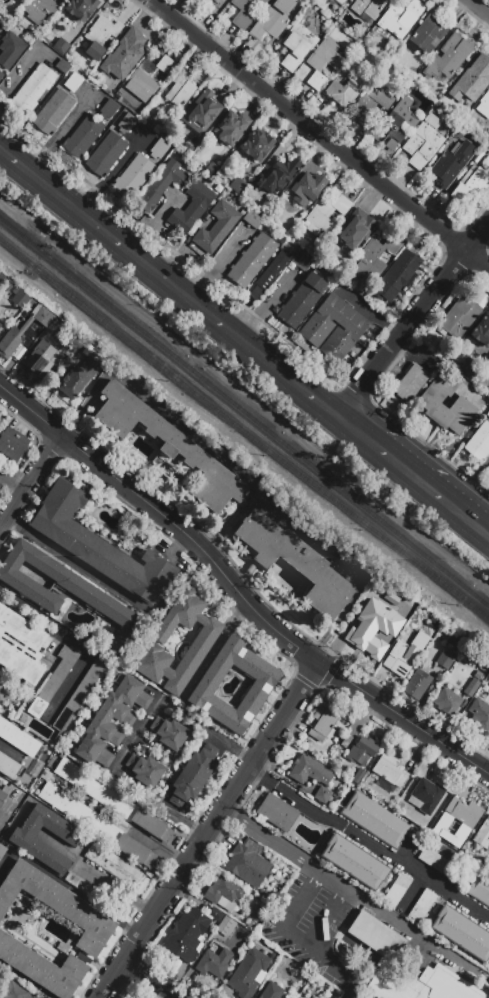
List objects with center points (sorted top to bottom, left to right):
building: (214, 2)
building: (341, 2)
road: (479, 7)
building: (81, 8)
building: (367, 8)
building: (31, 11)
building: (242, 17)
building: (401, 18)
building: (274, 20)
building: (429, 35)
building: (100, 36)
building: (296, 45)
building: (61, 46)
building: (10, 50)
building: (124, 55)
building: (449, 58)
building: (322, 63)
building: (62, 67)
building: (1, 75)
building: (148, 77)
building: (73, 82)
building: (469, 84)
building: (344, 89)
building: (33, 90)
building: (181, 90)
building: (370, 106)
building: (484, 106)
building: (108, 110)
building: (53, 112)
building: (198, 117)
building: (127, 123)
building: (395, 126)
building: (231, 128)
road: (320, 135)
building: (83, 137)
building: (423, 142)
building: (256, 146)
building: (158, 149)
road: (2, 152)
building: (106, 154)
building: (451, 164)
building: (133, 177)
building: (276, 177)
building: (471, 185)
building: (162, 186)
building: (307, 190)
building: (191, 208)
building: (325, 216)
building: (253, 220)
building: (216, 228)
building: (356, 229)
road: (170, 250)
road: (460, 255)
building: (374, 258)
building: (251, 260)
building: (304, 261)
building: (270, 273)
building: (398, 276)
building: (2, 280)
road: (172, 286)
building: (8, 288)
building: (20, 298)
building: (302, 301)
building: (44, 318)
building: (458, 318)
building: (0, 323)
building: (0, 326)
building: (318, 328)
building: (482, 334)
building: (10, 343)
road: (386, 354)
building: (38, 359)
building: (488, 363)
building: (78, 378)
building: (410, 383)
road: (348, 391)
road: (364, 398)
building: (431, 406)
road: (30, 411)
railway: (244, 411)
building: (488, 414)
road: (70, 428)
railway: (243, 429)
road: (358, 432)
road: (62, 437)
building: (479, 442)
building: (12, 444)
road: (430, 447)
building: (170, 448)
building: (488, 469)
road: (412, 474)
road: (30, 481)
road: (12, 482)
building: (0, 486)
road: (250, 486)
road: (468, 516)
road: (228, 522)
building: (309, 529)
building: (97, 545)
road: (74, 562)
building: (295, 562)
building: (85, 593)
road: (265, 619)
building: (378, 640)
road: (74, 642)
building: (202, 642)
building: (21, 646)
building: (403, 658)
building: (445, 661)
building: (478, 676)
building: (54, 681)
building: (417, 684)
building: (3, 687)
building: (472, 687)
building: (205, 688)
building: (78, 695)
building: (447, 703)
building: (183, 704)
building: (479, 713)
building: (112, 721)
building: (323, 723)
building: (169, 733)
road: (136, 736)
building: (18, 739)
building: (347, 739)
building: (308, 749)
road: (9, 751)
building: (362, 752)
building: (8, 766)
building: (144, 770)
building: (310, 771)
building: (390, 771)
building: (357, 776)
building: (193, 777)
building: (322, 795)
building: (425, 796)
building: (1, 797)
building: (110, 800)
building: (277, 813)
building: (464, 813)
building: (375, 821)
building: (95, 824)
road: (203, 829)
building: (483, 836)
building: (22, 839)
road: (366, 841)
road: (157, 844)
building: (251, 847)
building: (354, 862)
building: (113, 864)
building: (247, 866)
building: (442, 866)
road: (99, 876)
building: (78, 883)
road: (65, 886)
road: (338, 886)
building: (397, 890)
building: (479, 890)
building: (223, 894)
building: (58, 906)
building: (423, 907)
building: (216, 915)
parking lot: (313, 916)
building: (462, 933)
building: (186, 935)
building: (386, 949)
building: (214, 963)
building: (42, 968)
building: (248, 973)
road: (27, 979)
road: (147, 980)
building: (272, 991)
building: (15, 992)

